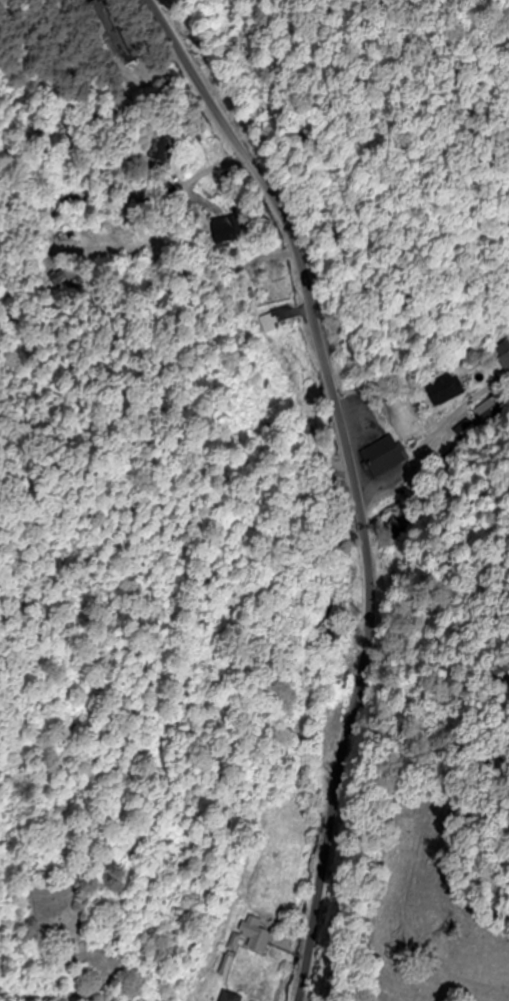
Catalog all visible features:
building: (503, 356)
building: (442, 390)
building: (495, 405)
road: (433, 442)
building: (384, 456)
road: (353, 478)
building: (347, 587)
building: (253, 935)
building: (224, 967)
building: (227, 997)

